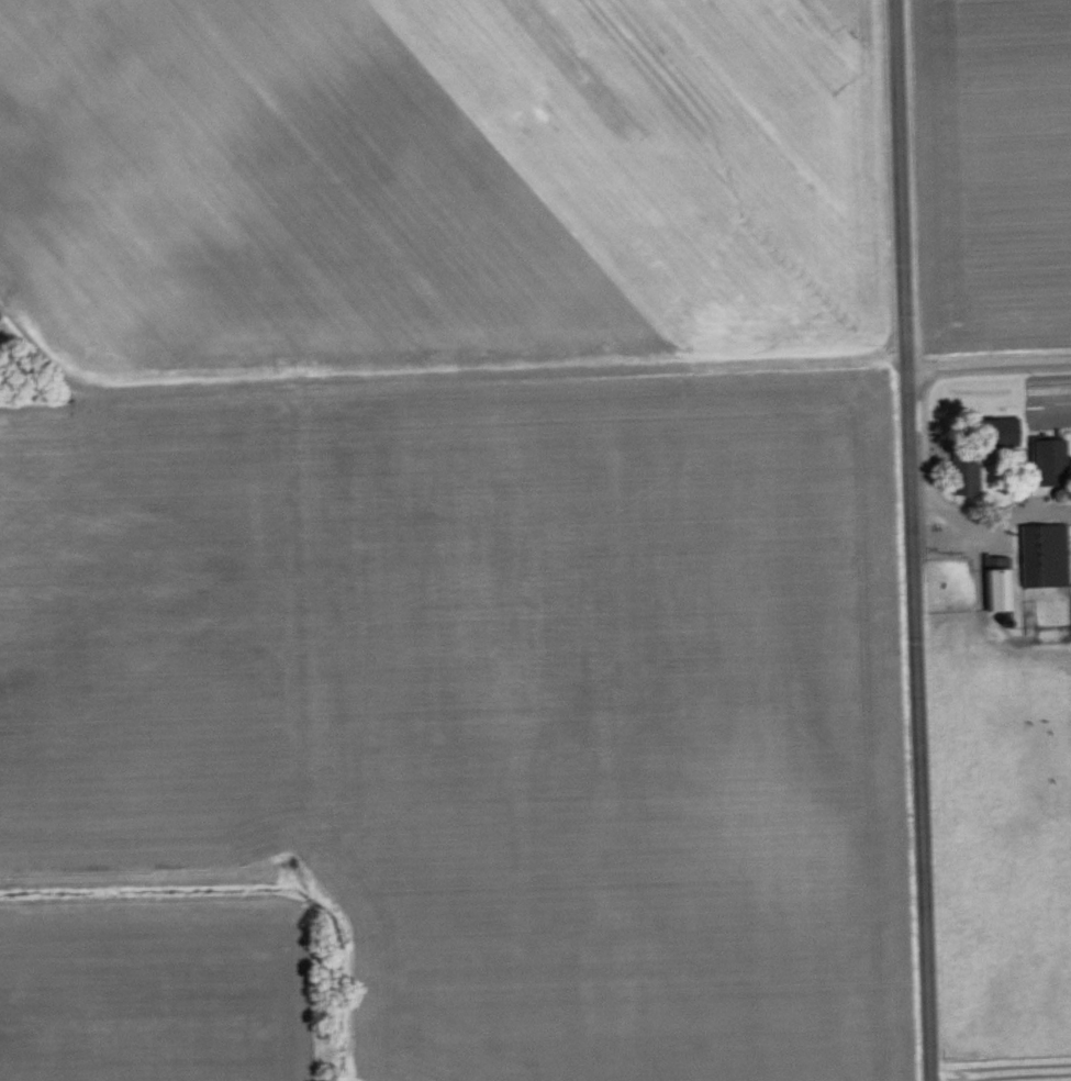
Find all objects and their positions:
crop: (1001, 167)
crop: (458, 179)
road: (994, 352)
building: (996, 430)
building: (1048, 460)
building: (967, 475)
road: (922, 539)
building: (1044, 554)
building: (994, 584)

